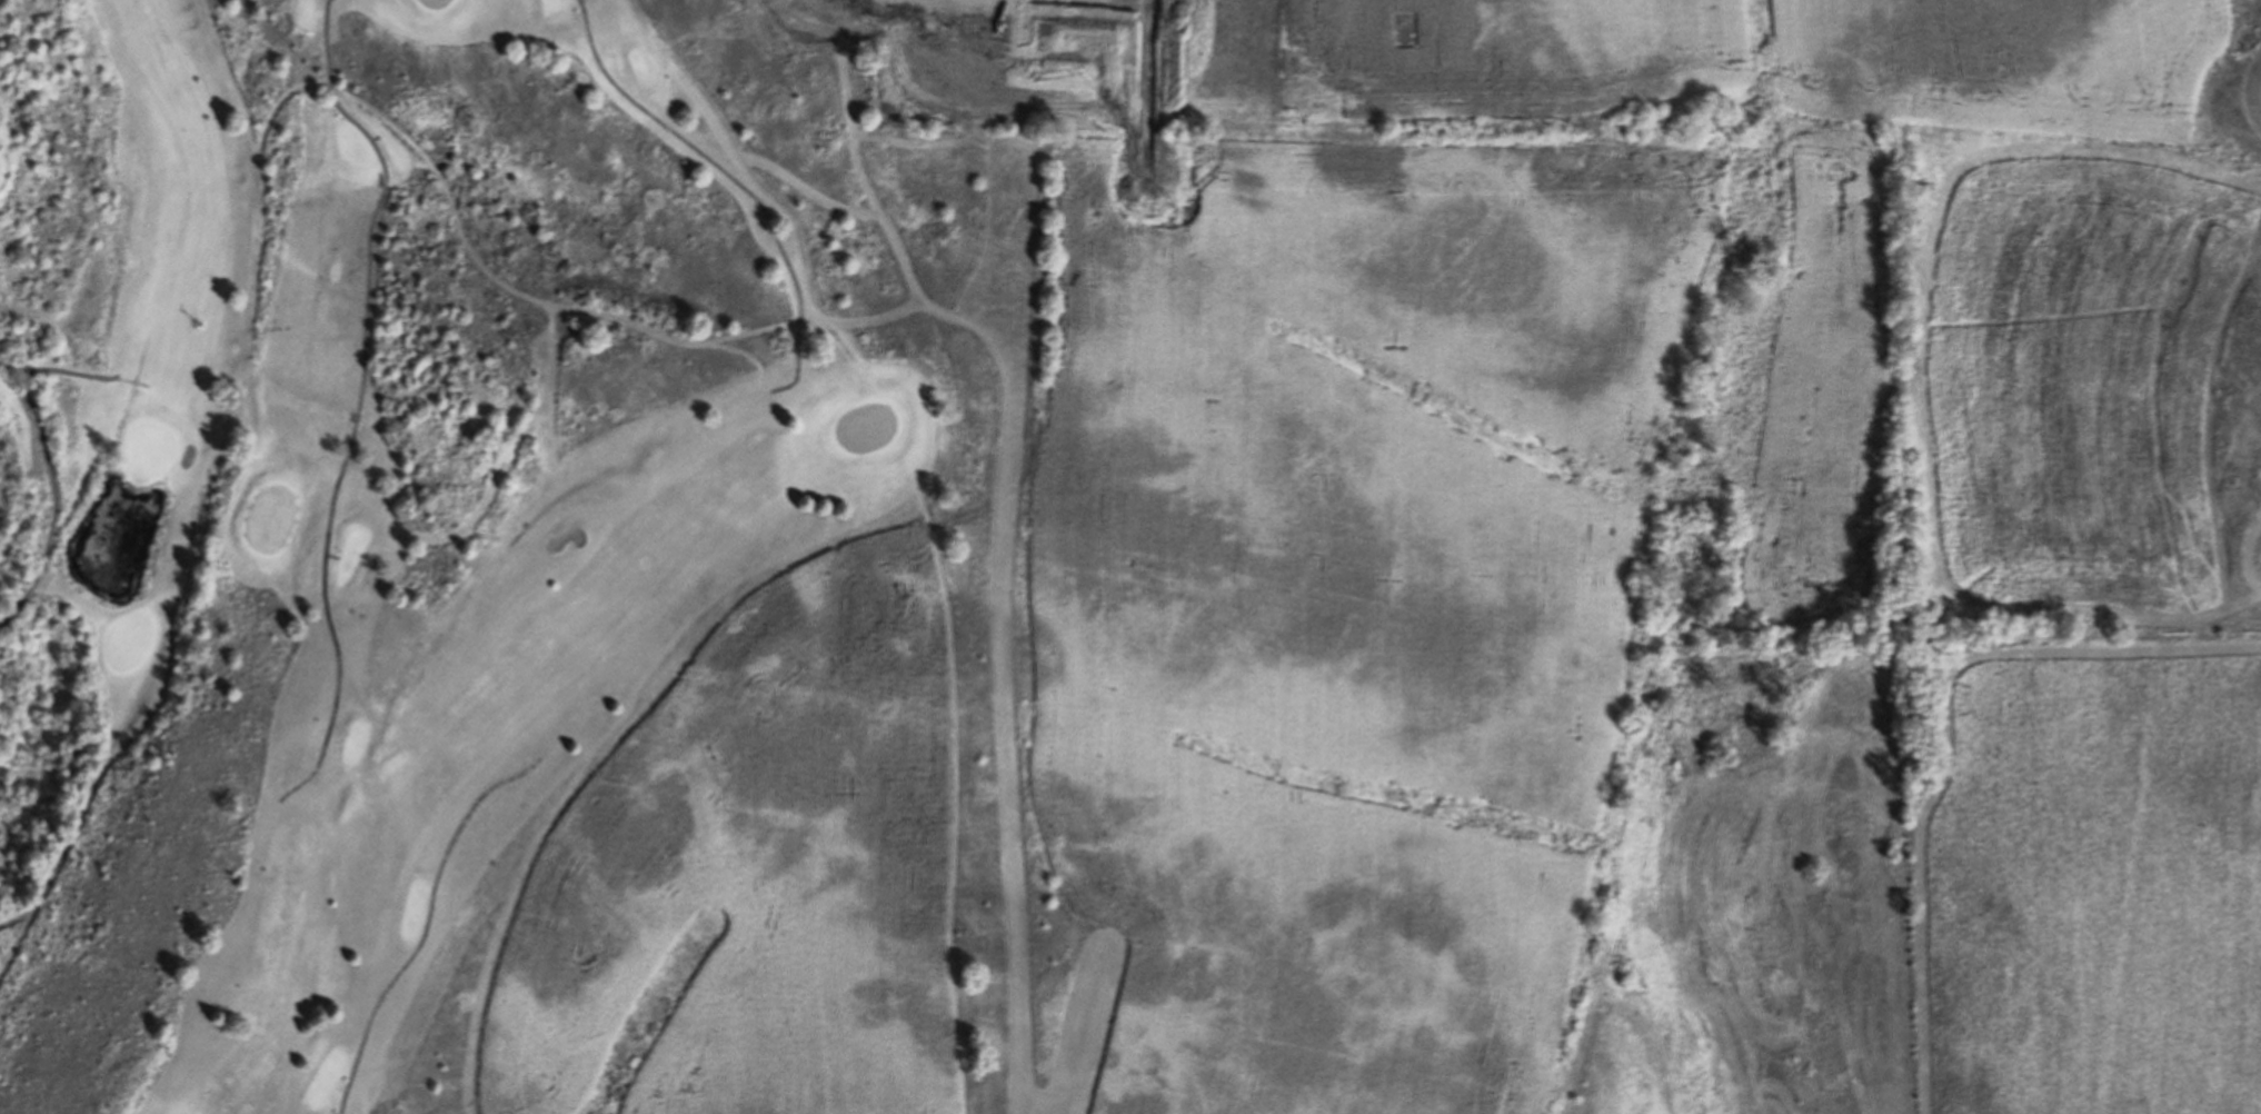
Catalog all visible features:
park: (439, 3)
crop: (1391, 66)
road: (743, 180)
building: (974, 215)
road: (261, 255)
road: (366, 401)
park: (874, 425)
road: (54, 460)
park: (277, 520)
park: (860, 567)
road: (21, 916)
road: (432, 924)

